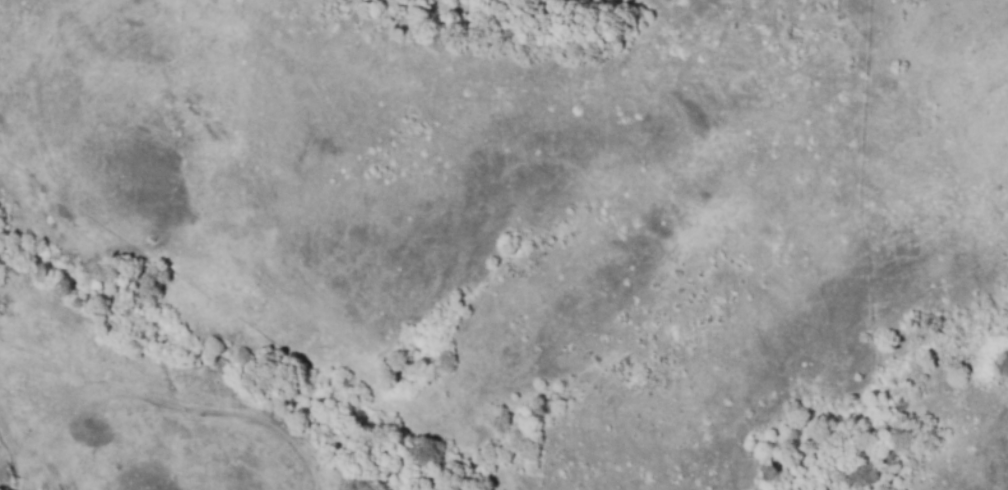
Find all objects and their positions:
road: (171, 406)

